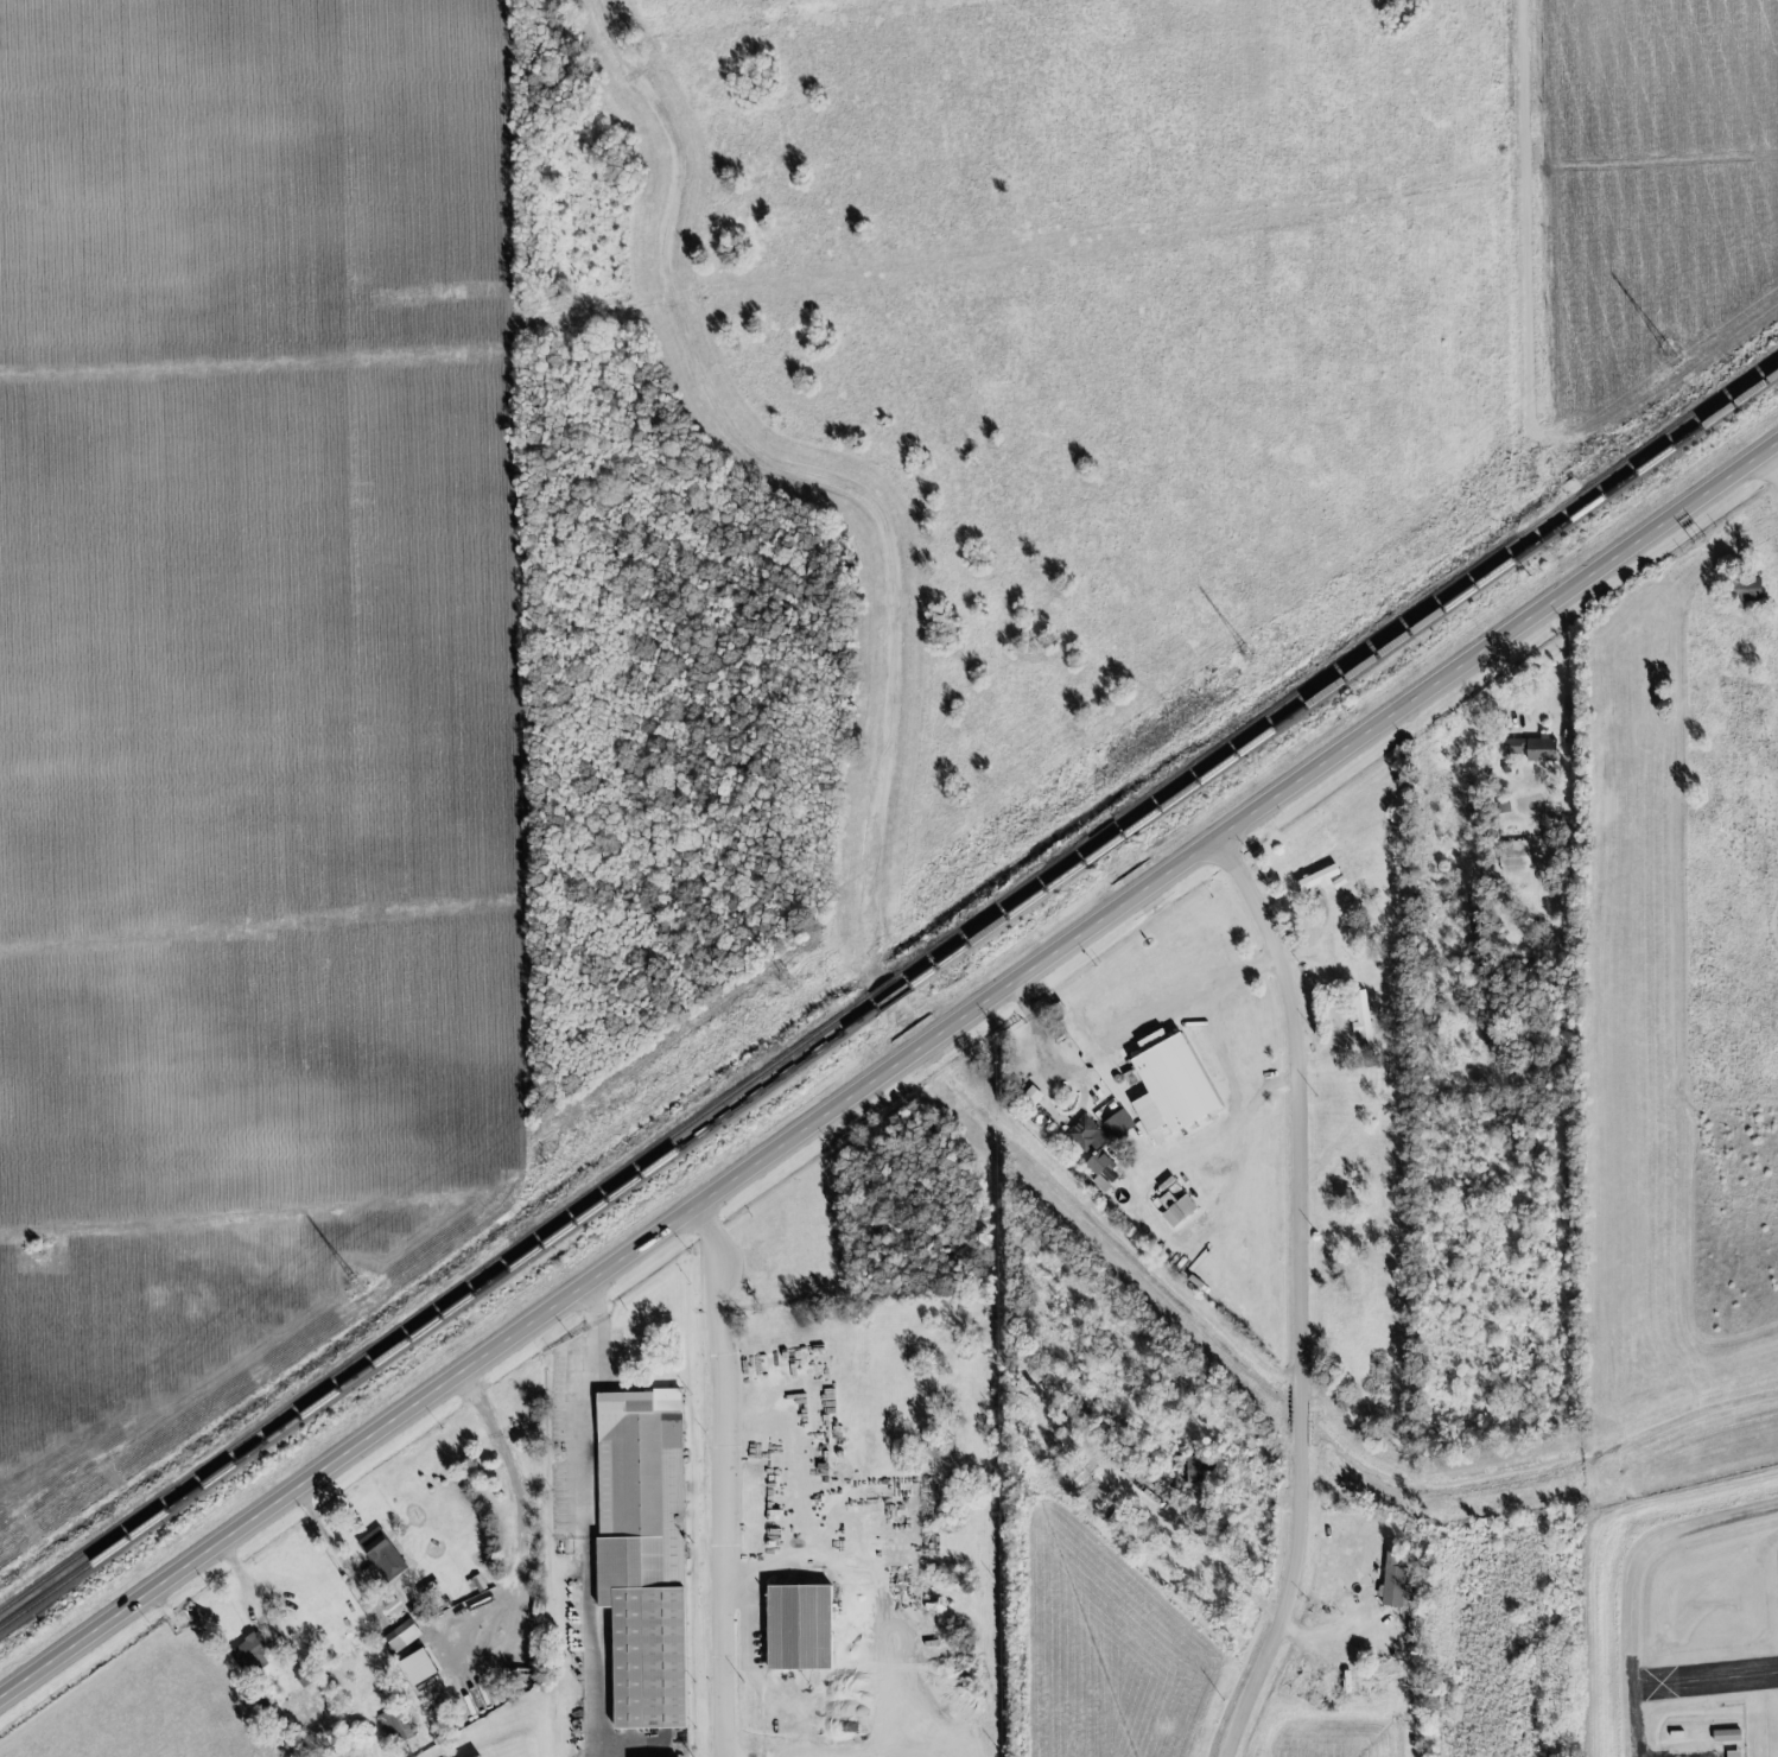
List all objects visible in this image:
road: (1525, 221)
power tower: (1669, 354)
road: (1772, 464)
building: (1746, 590)
power tower: (1249, 654)
building: (1532, 749)
building: (1515, 857)
building: (1317, 878)
power tower: (788, 978)
railway: (889, 981)
road: (1198, 994)
building: (1361, 1017)
road: (889, 1072)
road: (1230, 1082)
building: (1170, 1083)
road: (1049, 1087)
building: (1117, 1123)
building: (1086, 1134)
road: (1218, 1137)
building: (1099, 1169)
building: (1175, 1209)
power tower: (358, 1286)
road: (1306, 1295)
building: (1194, 1470)
road: (724, 1479)
road: (584, 1518)
building: (379, 1550)
building: (642, 1554)
road: (1607, 1554)
road: (764, 1568)
building: (1395, 1579)
road: (513, 1580)
building: (799, 1628)
building: (400, 1636)
building: (250, 1650)
building: (399, 1726)
building: (1726, 1736)
building: (1733, 1753)

